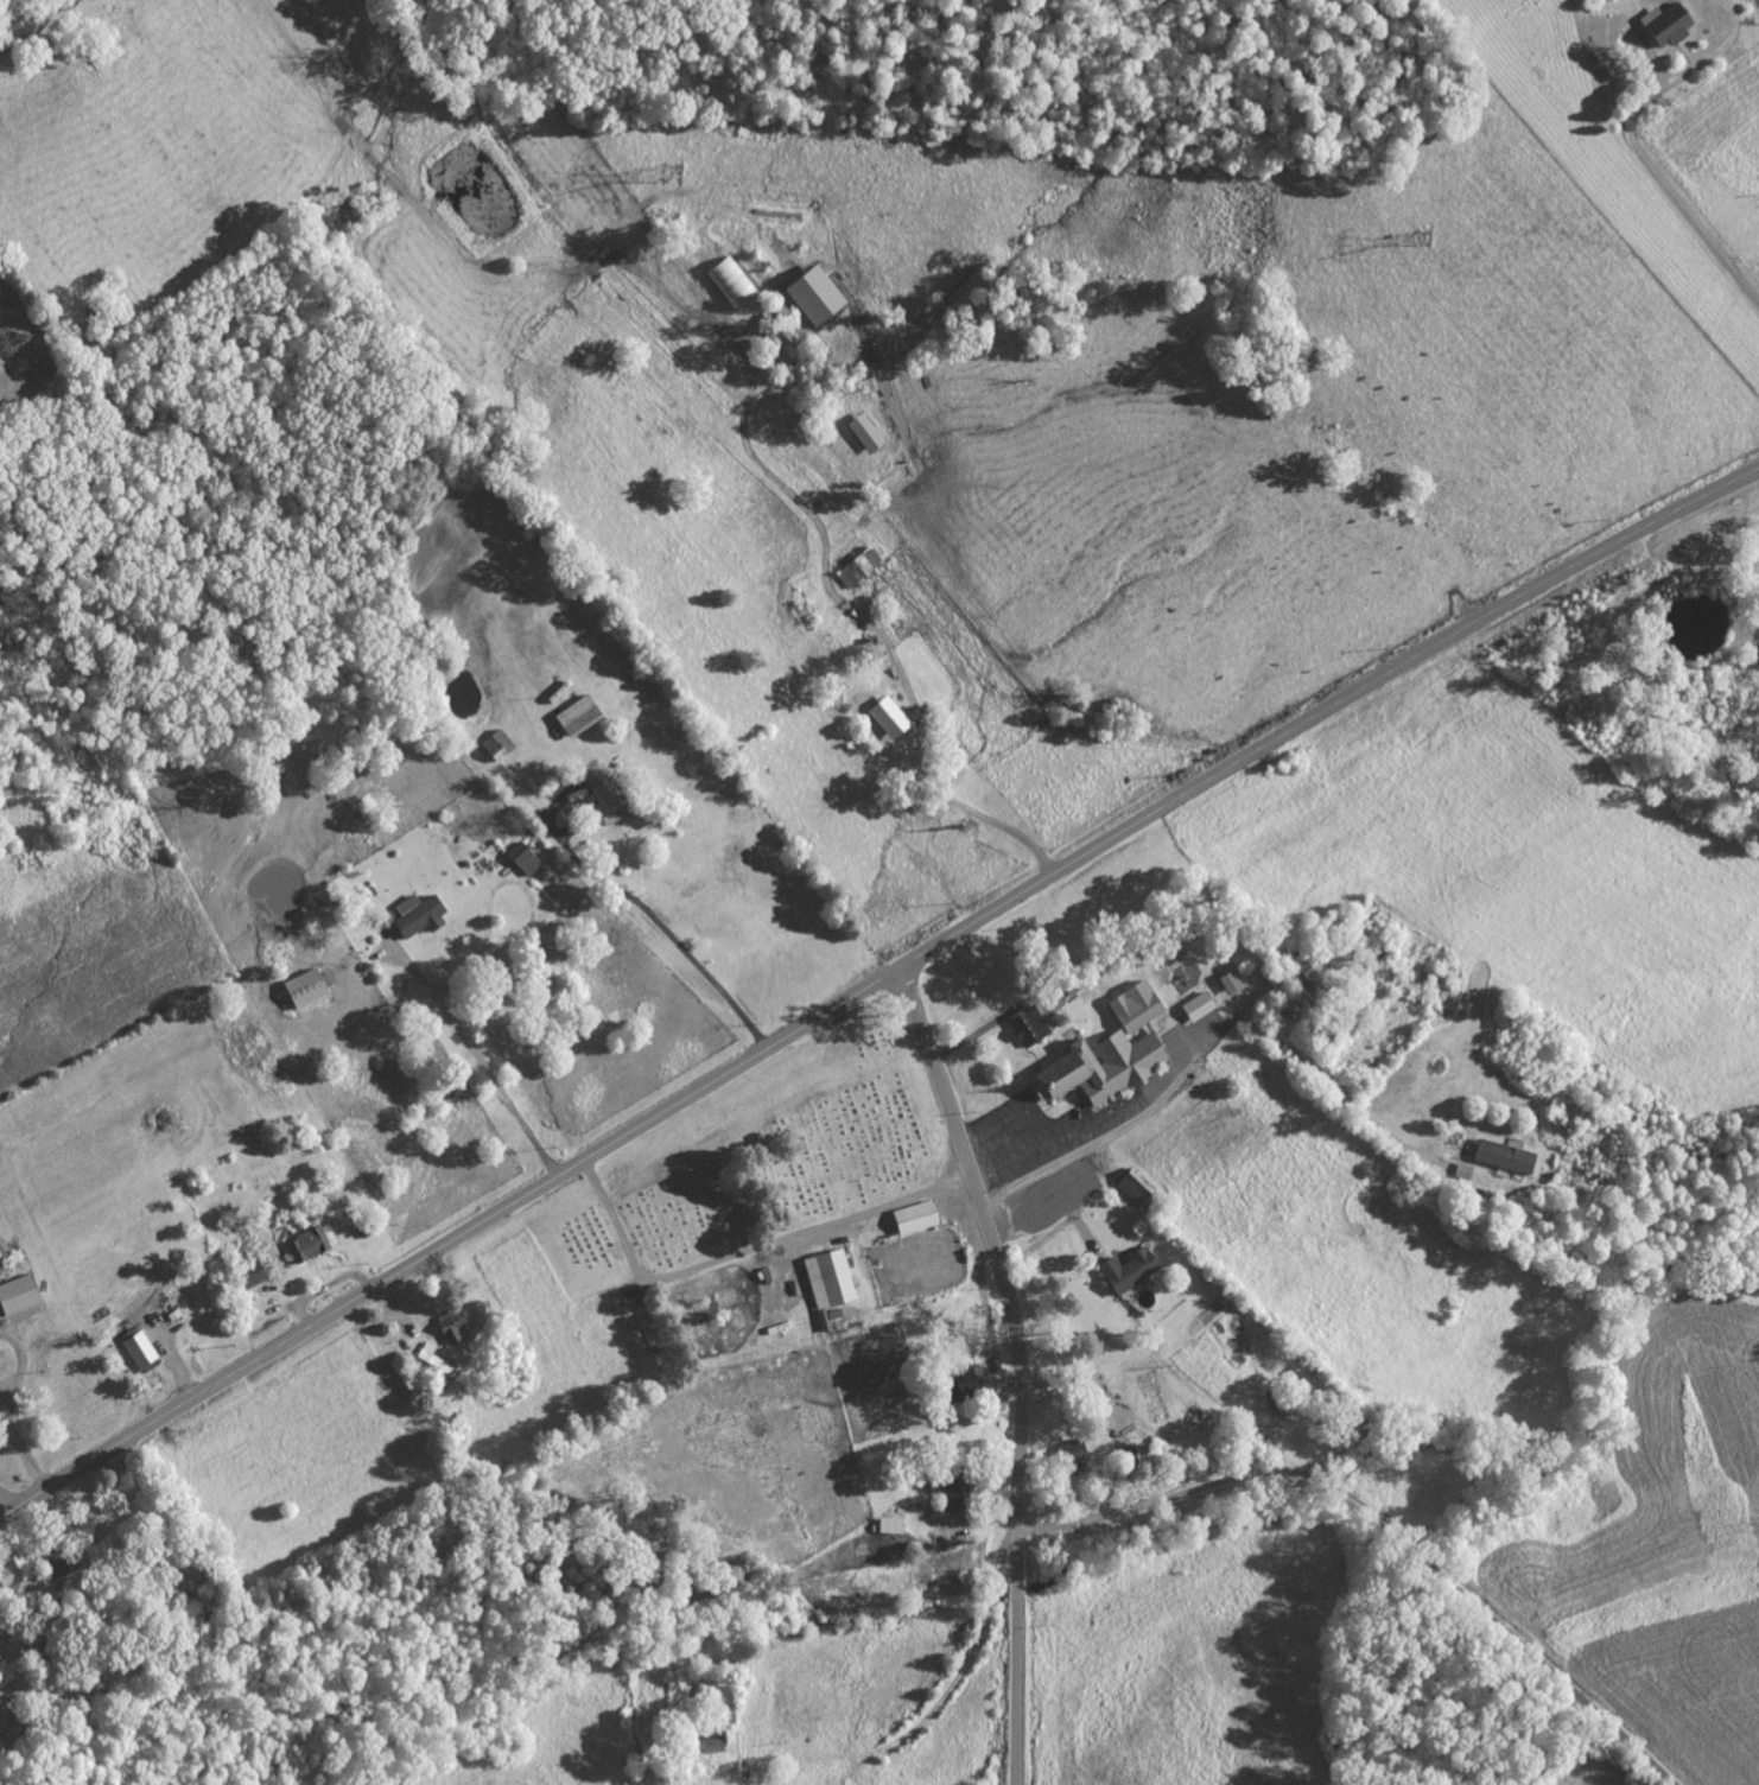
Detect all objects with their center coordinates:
building: (1671, 24)
power tower: (674, 171)
power tower: (1424, 237)
building: (734, 284)
building: (820, 296)
building: (869, 433)
building: (862, 567)
building: (582, 716)
building: (891, 718)
building: (500, 745)
building: (610, 793)
building: (527, 859)
building: (423, 915)
building: (1315, 971)
building: (1231, 982)
road: (872, 983)
building: (310, 989)
building: (1199, 1006)
building: (1030, 1025)
building: (1110, 1052)
road: (1120, 1114)
building: (1509, 1156)
park: (770, 1169)
building: (1136, 1189)
building: (916, 1215)
building: (311, 1245)
road: (743, 1252)
building: (1131, 1270)
building: (254, 1275)
building: (830, 1277)
building: (20, 1295)
building: (455, 1328)
building: (142, 1351)
building: (434, 1358)
road: (1021, 1366)
building: (969, 1384)
building: (959, 1491)
road: (6, 1503)
building: (894, 1525)
road: (1378, 1544)
building: (19, 1573)
building: (7, 1672)
road: (885, 1746)

